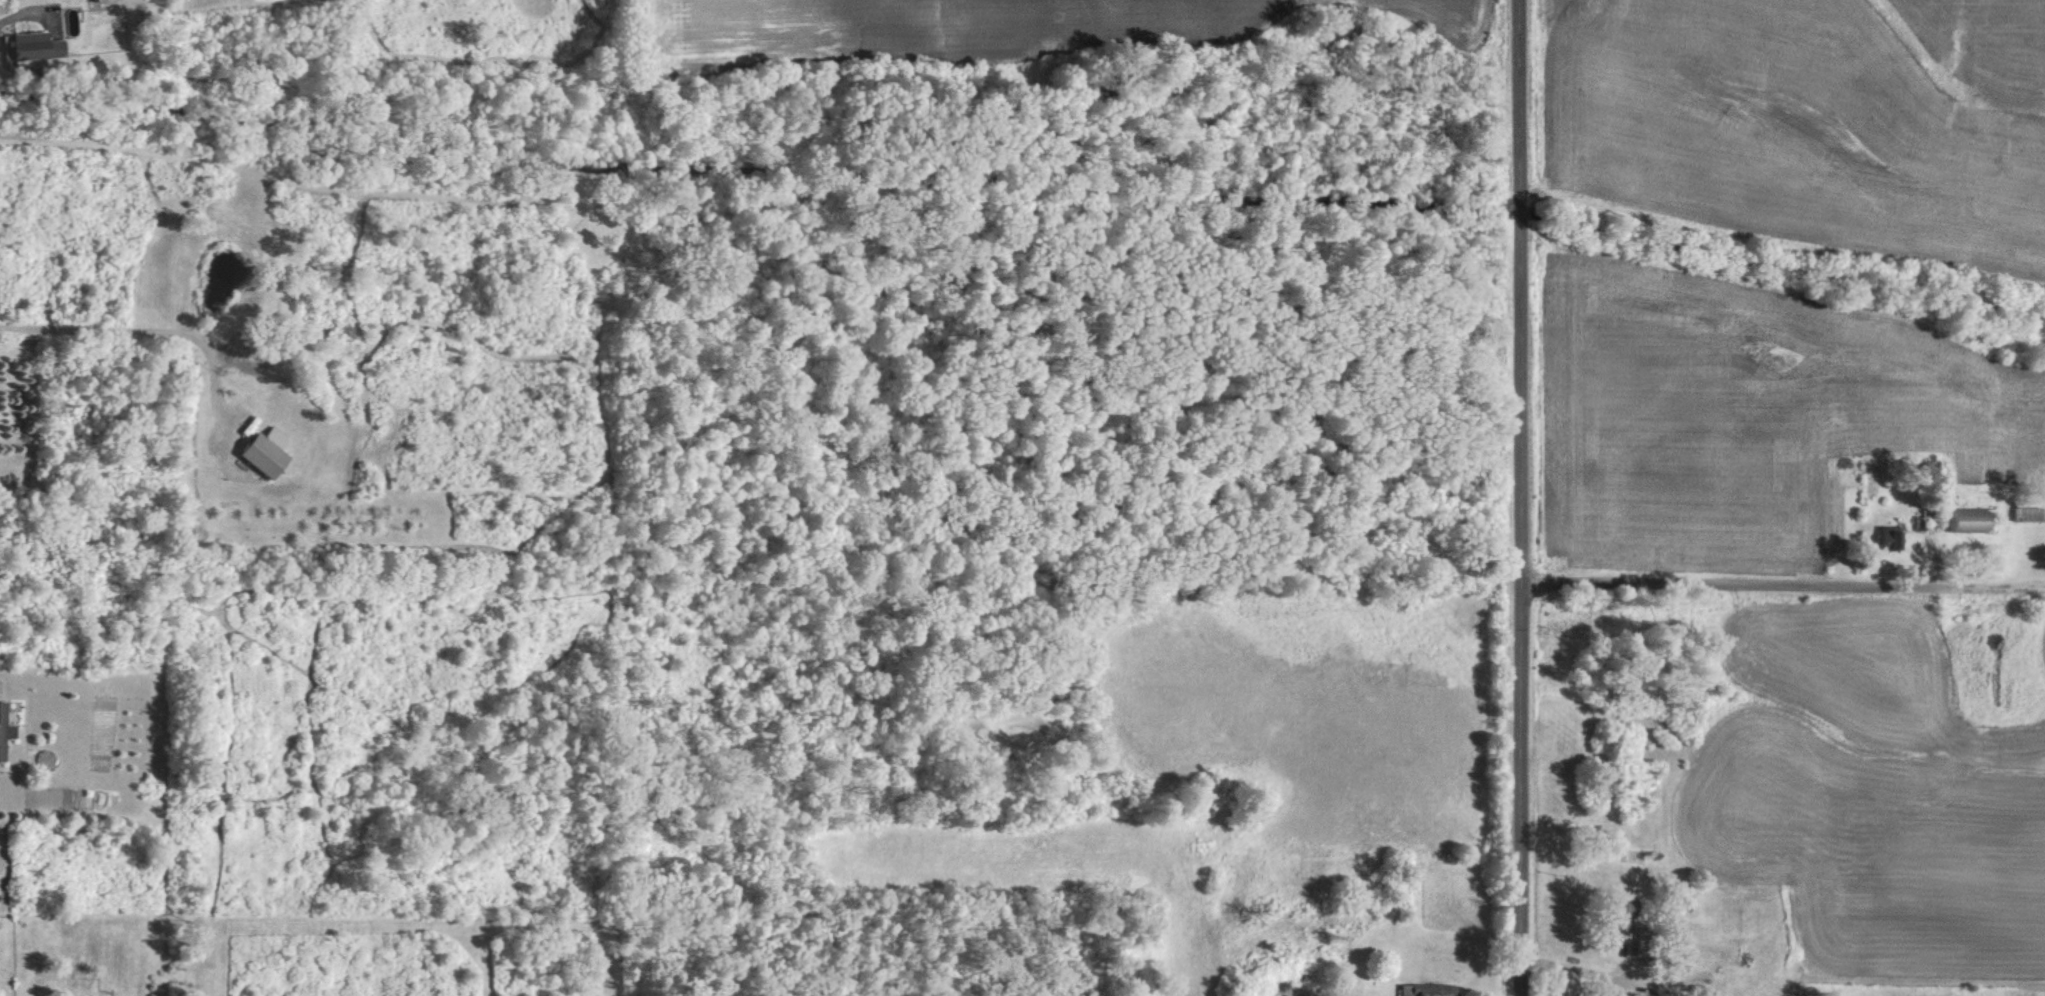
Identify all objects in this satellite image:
building: (26, 2)
road: (7, 18)
building: (29, 45)
road: (136, 330)
building: (258, 451)
road: (1519, 497)
building: (2024, 513)
building: (1960, 519)
building: (1881, 537)
road: (1782, 585)
building: (3, 732)
building: (1615, 916)
road: (1571, 970)
building: (1419, 989)

